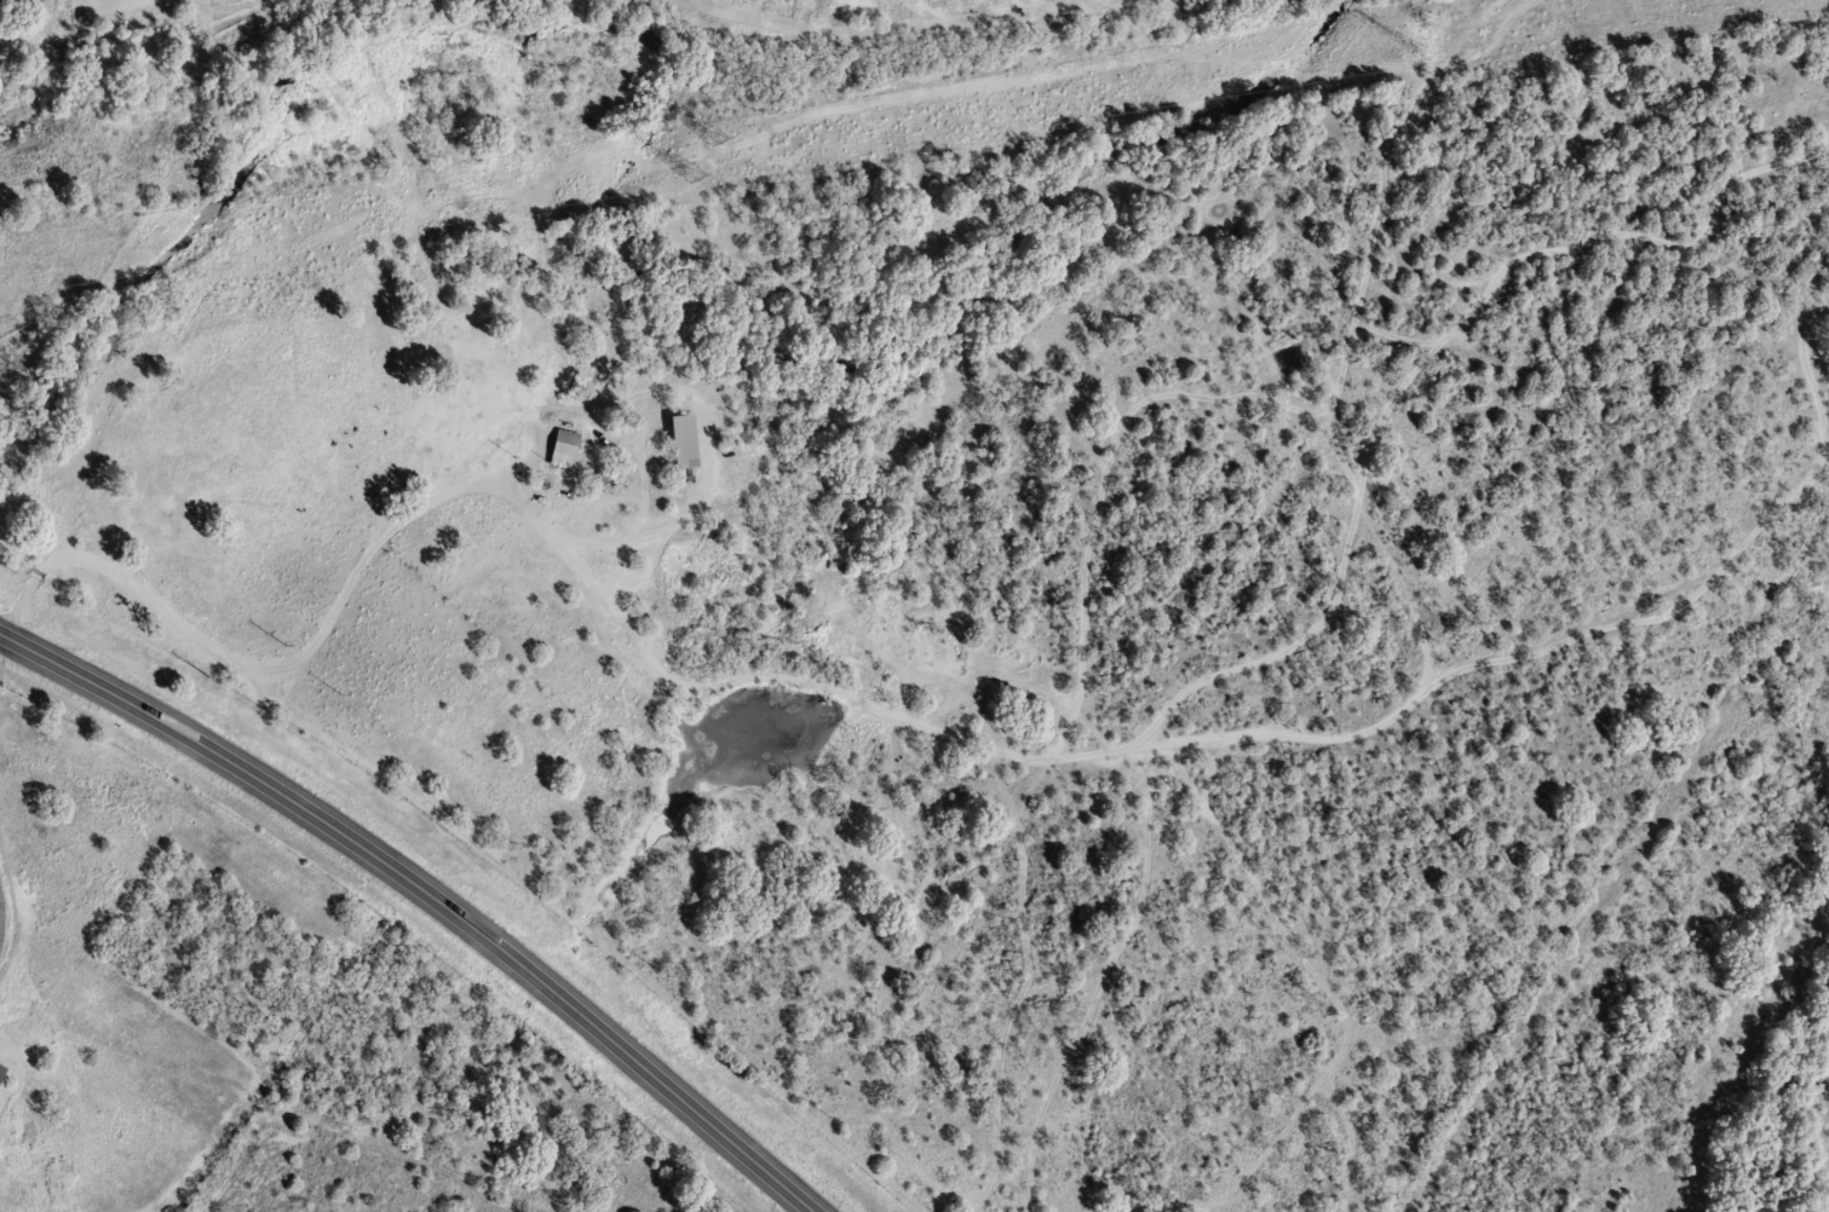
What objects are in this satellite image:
power tower: (1427, 19)
power tower: (1415, 57)
power tower: (713, 138)
power tower: (680, 177)
power tower: (161, 262)
building: (679, 443)
building: (560, 450)
road: (263, 665)
road: (425, 896)
road: (0, 927)
building: (0, 1069)

